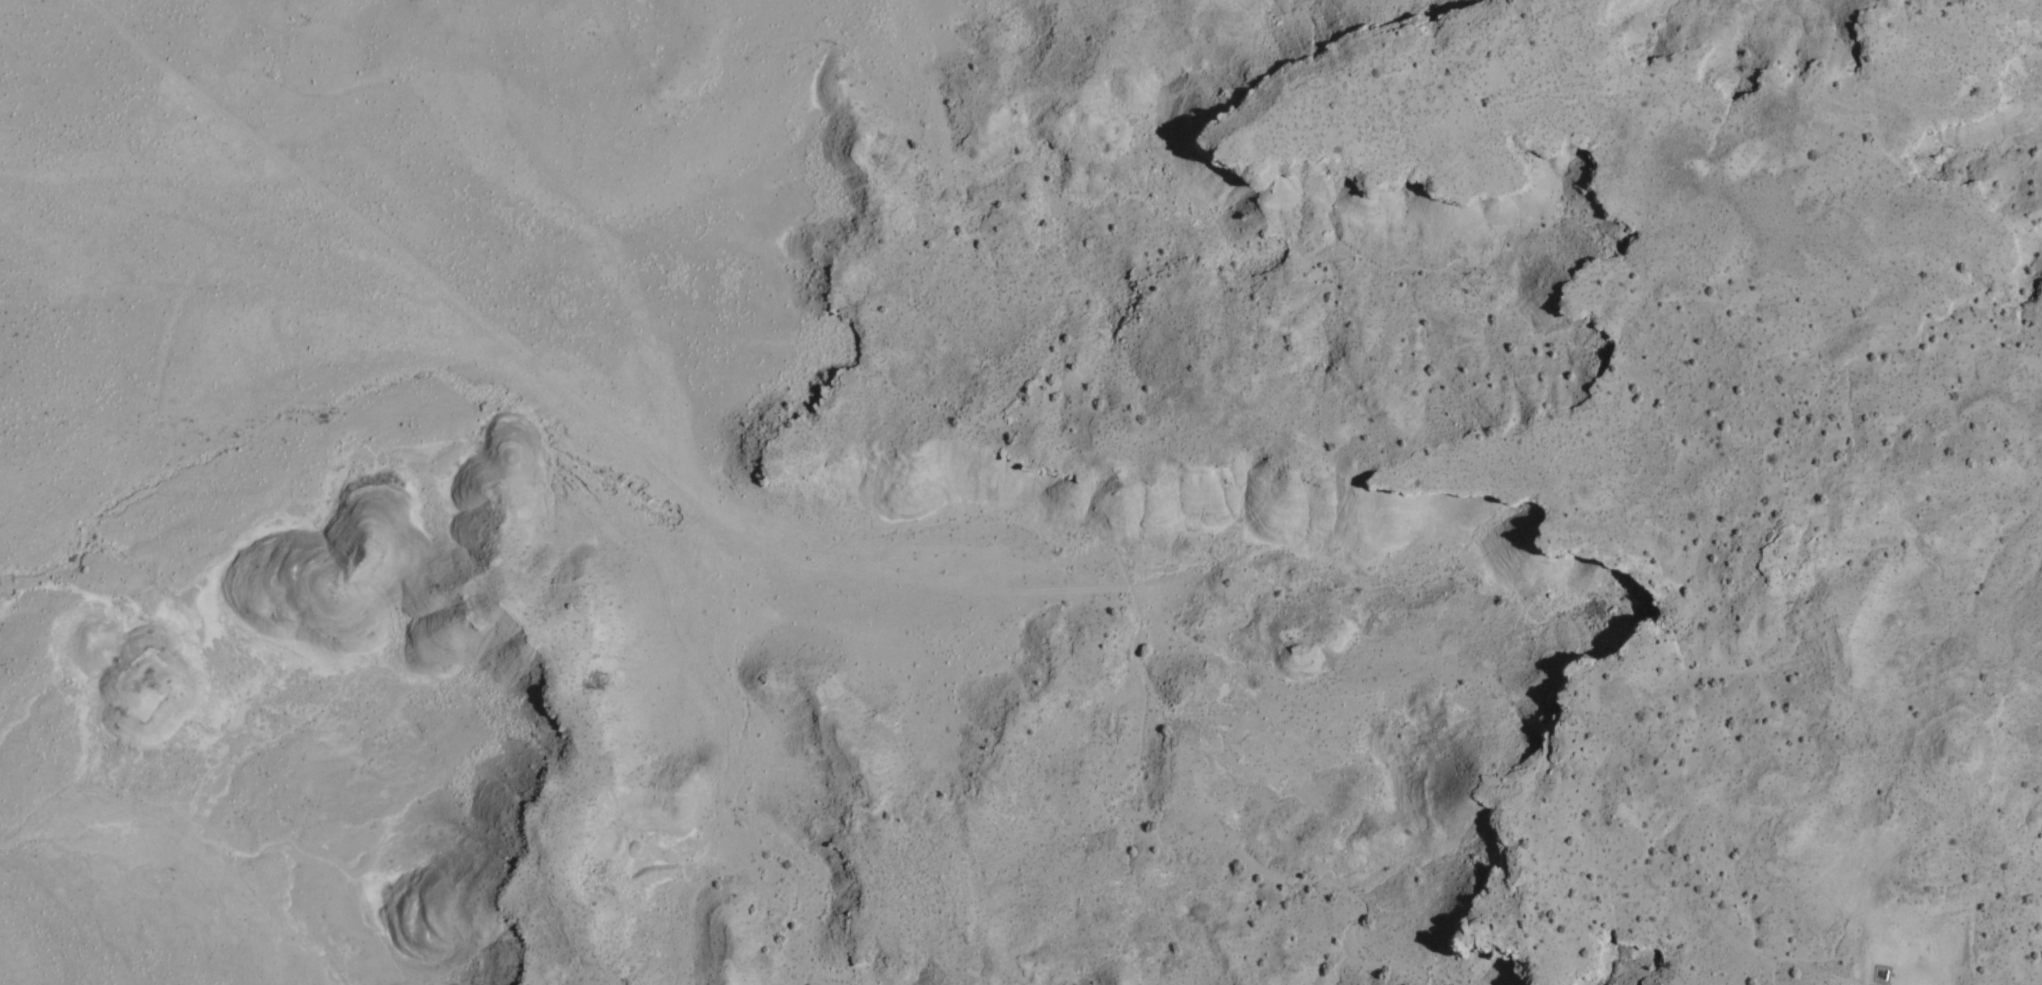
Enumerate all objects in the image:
road: (1918, 940)

